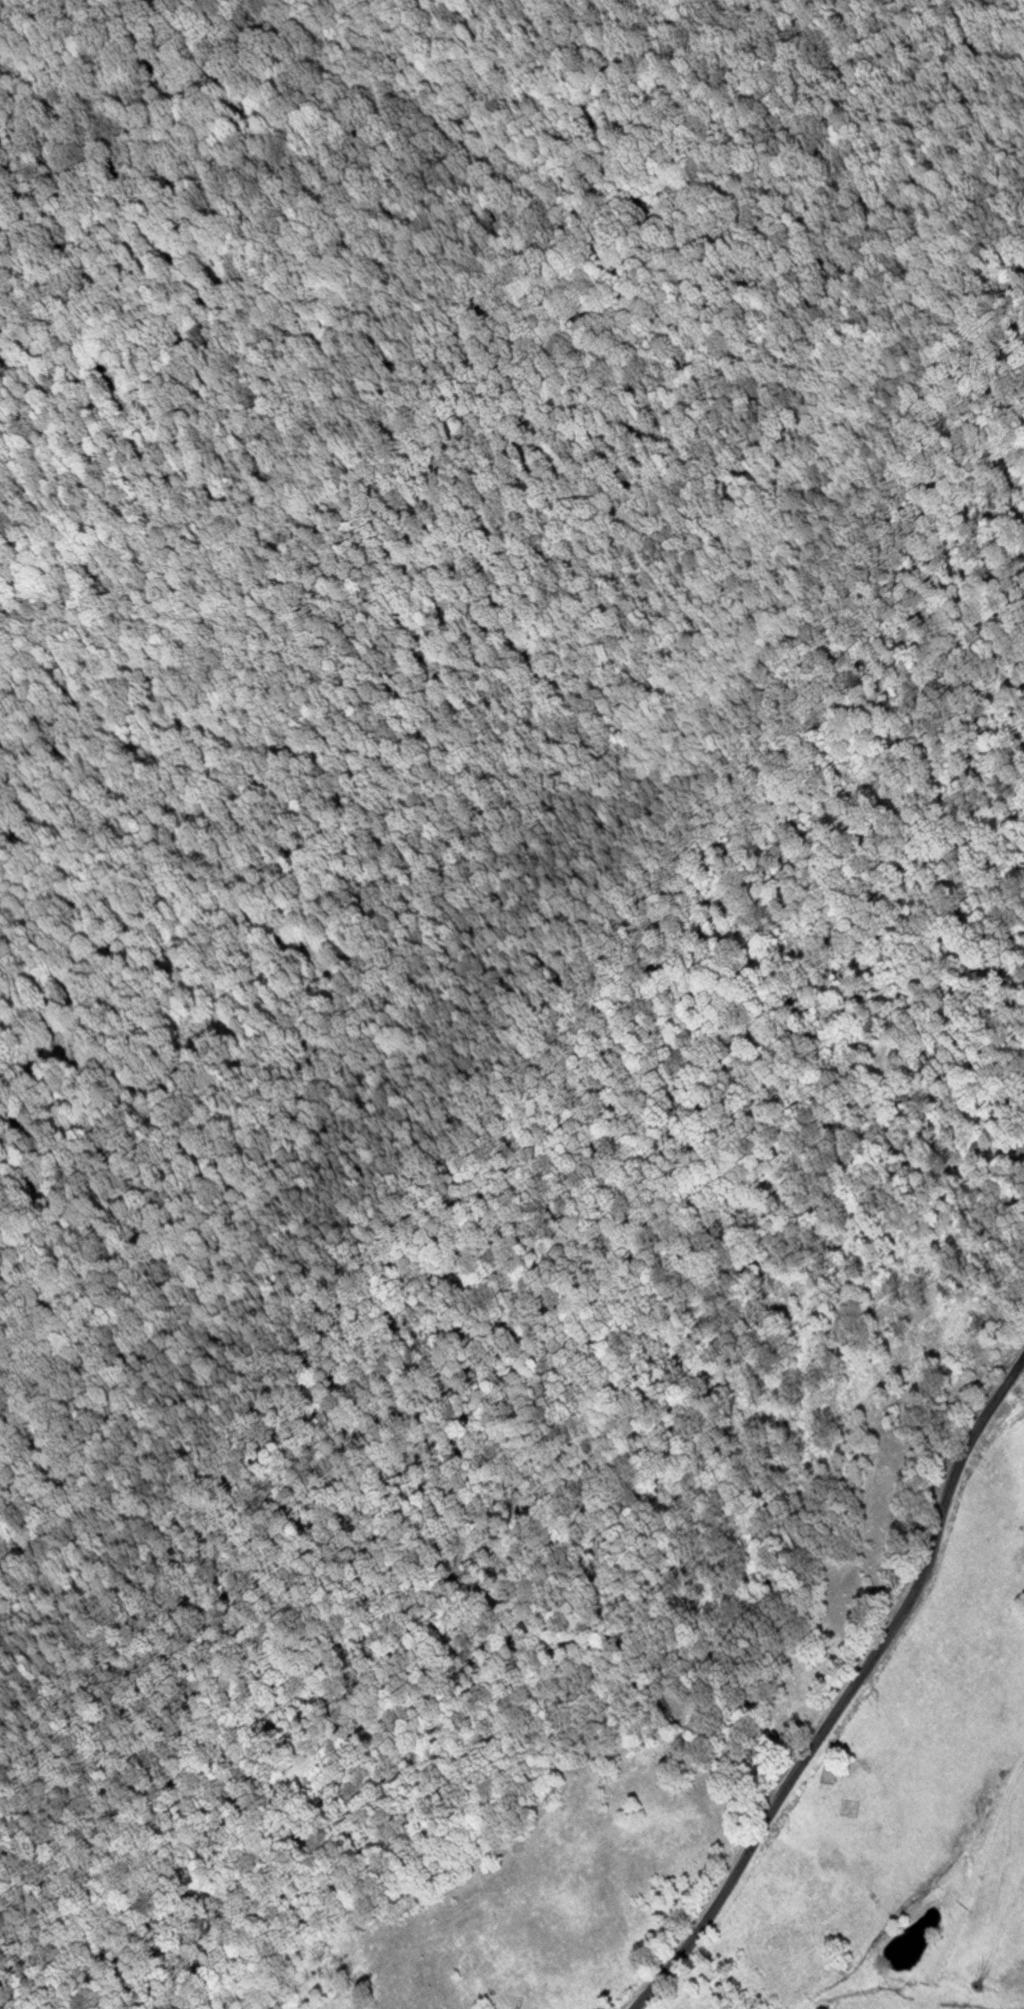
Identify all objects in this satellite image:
road: (854, 1696)
park: (833, 1773)
park: (851, 1808)

